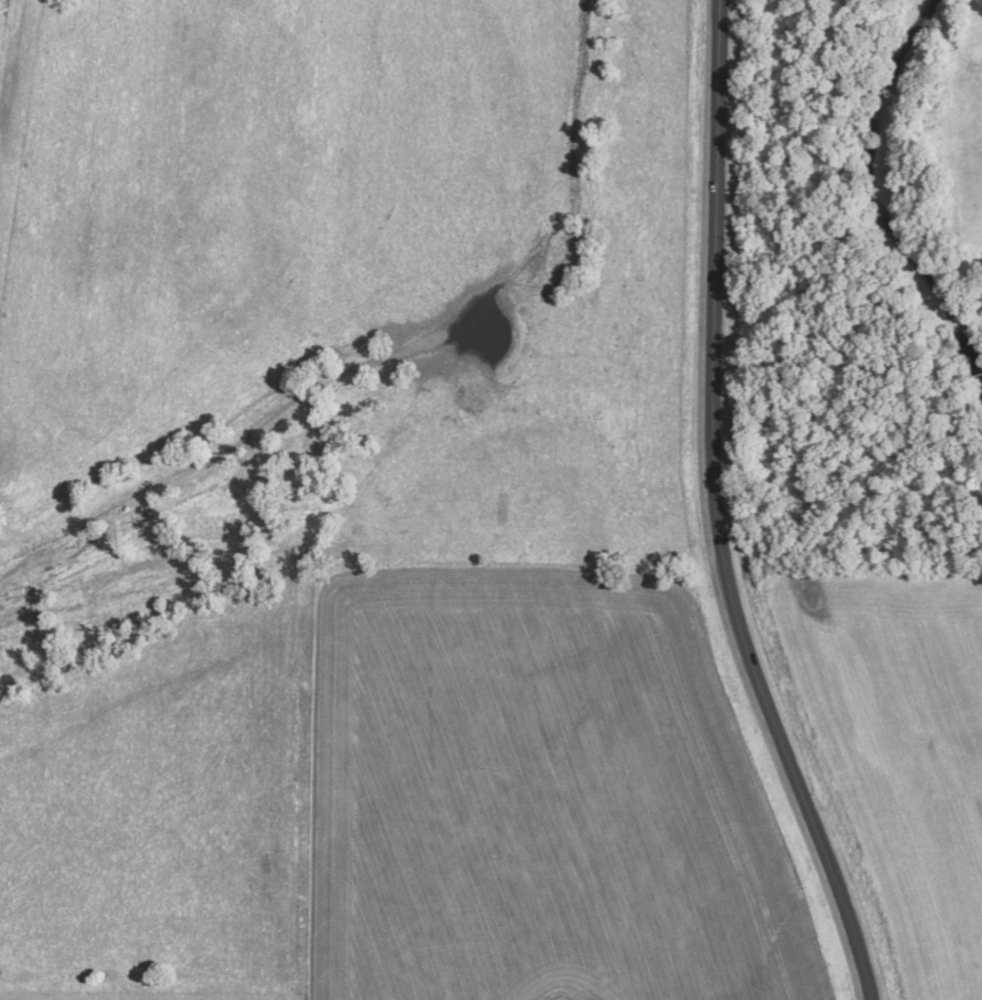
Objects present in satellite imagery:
road: (713, 513)

